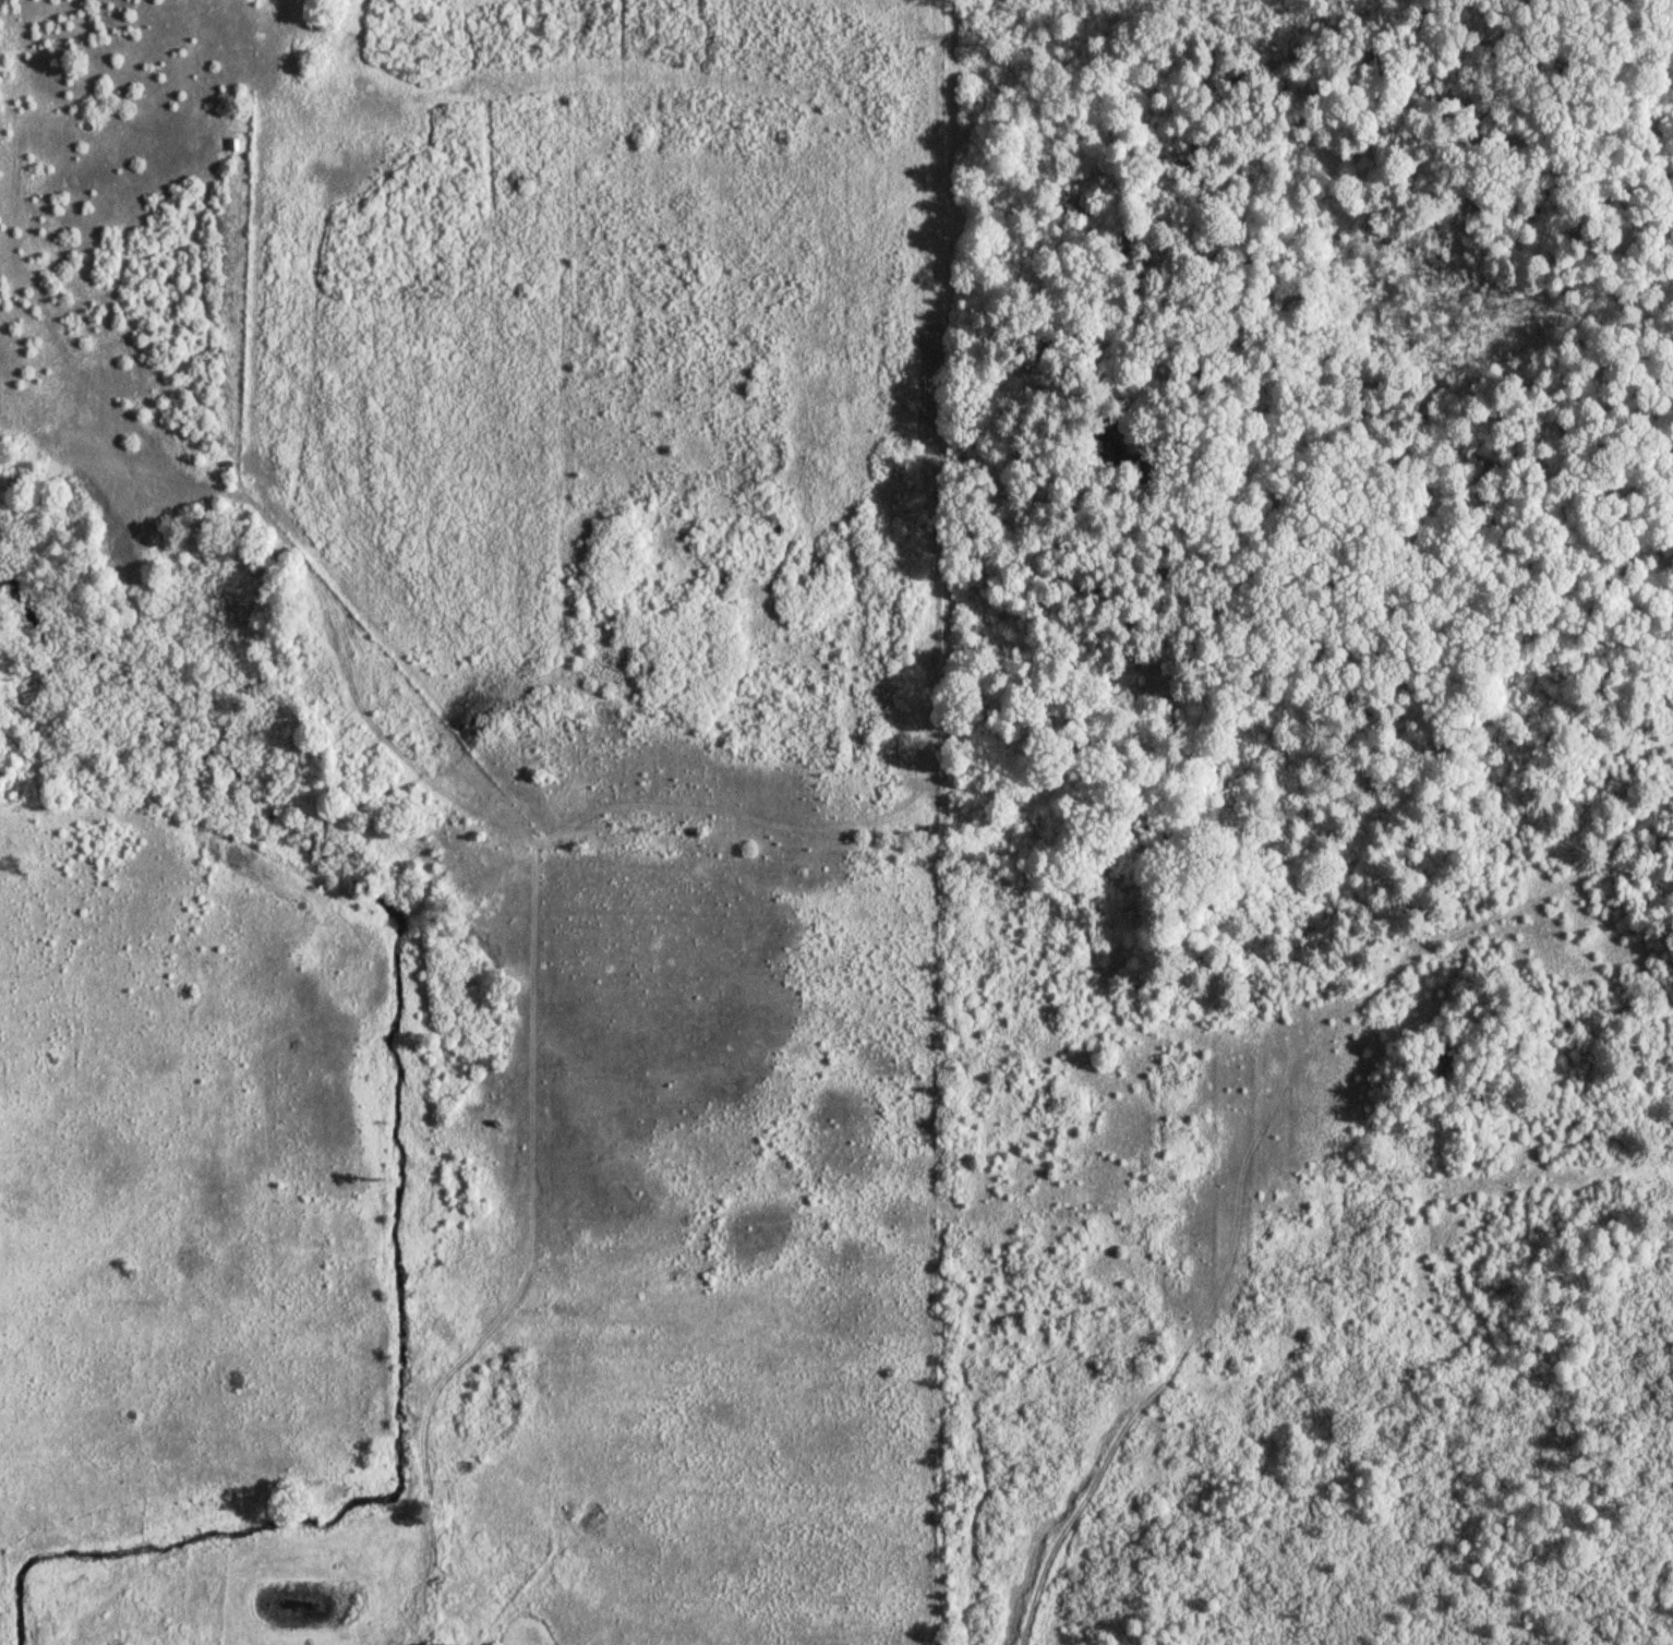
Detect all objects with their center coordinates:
building: (441, 1644)

